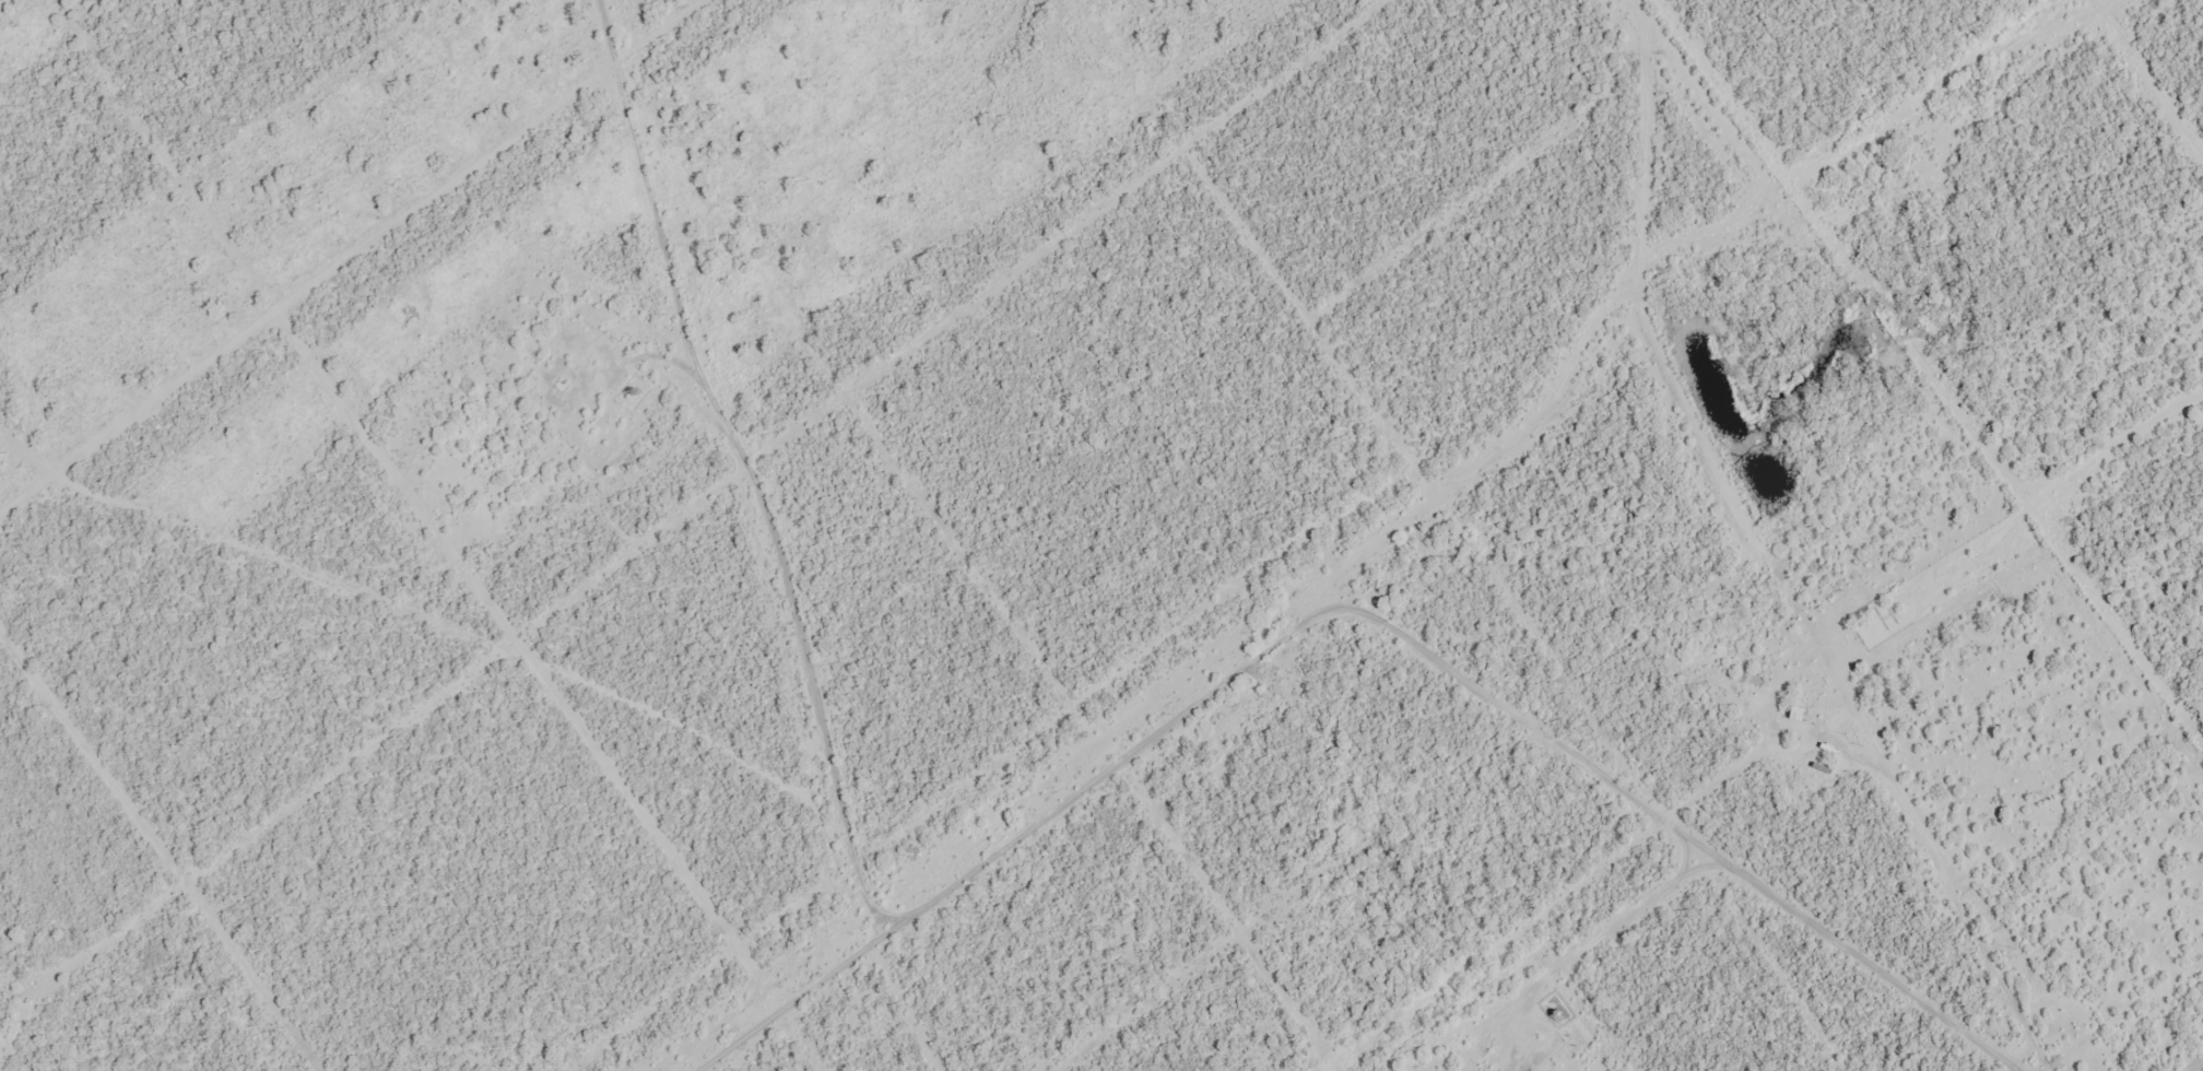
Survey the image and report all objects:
building: (1798, 715)

